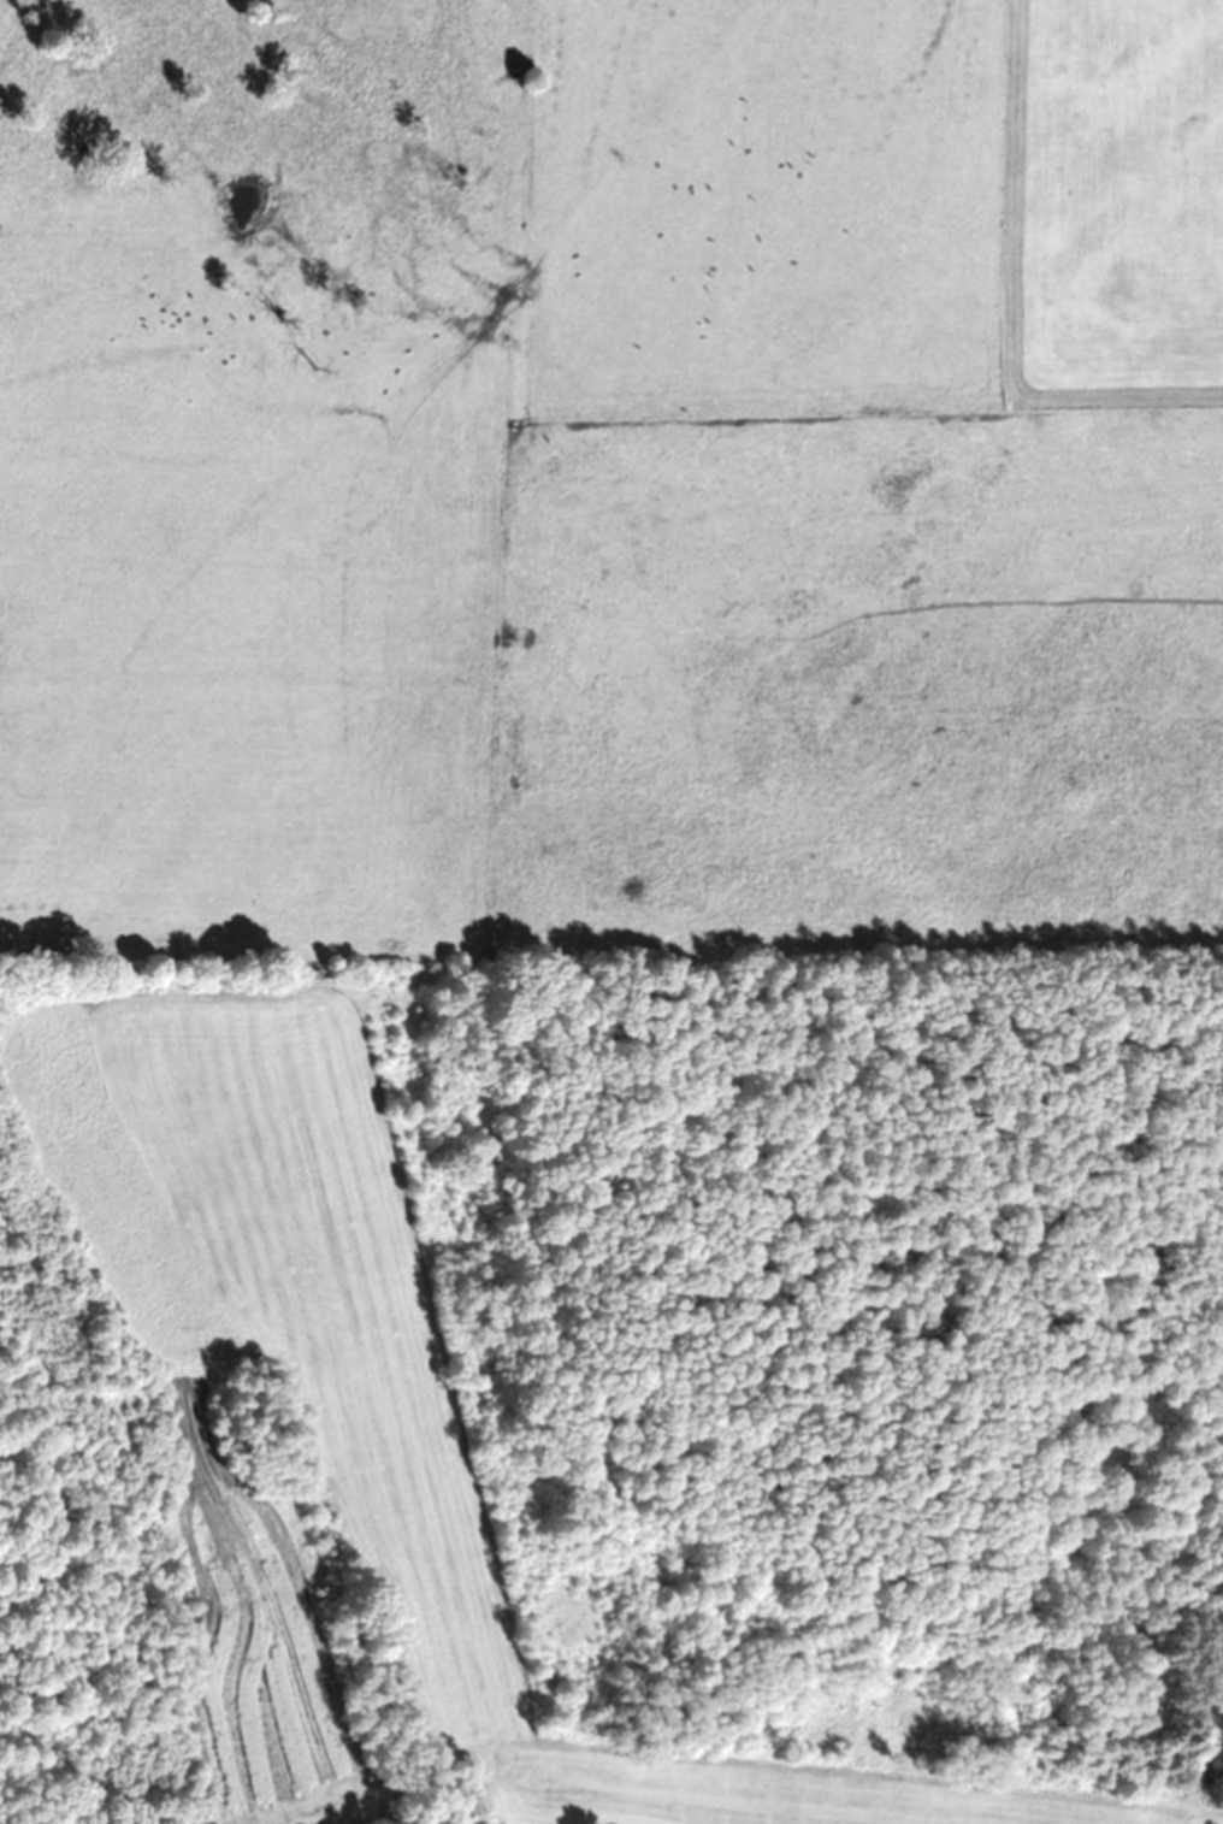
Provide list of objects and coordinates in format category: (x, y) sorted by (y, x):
crop: (566, 631)

